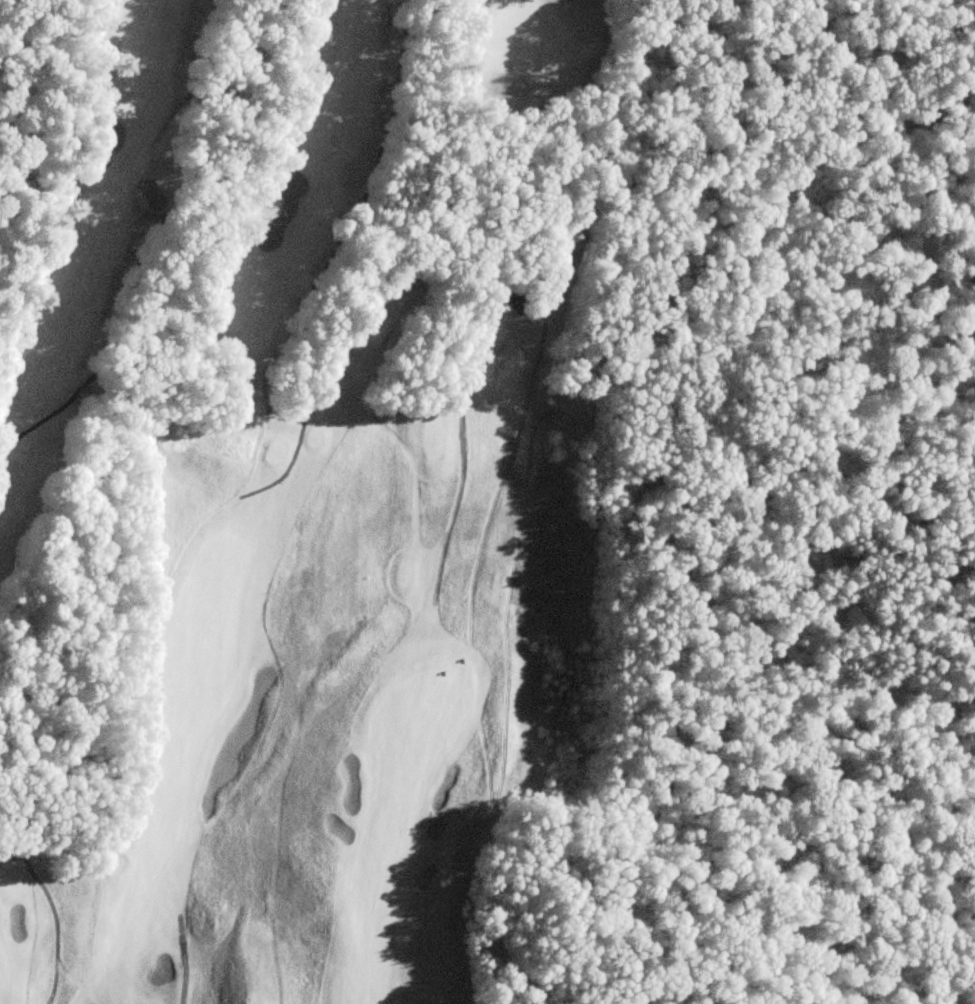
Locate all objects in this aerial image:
park: (288, 484)

